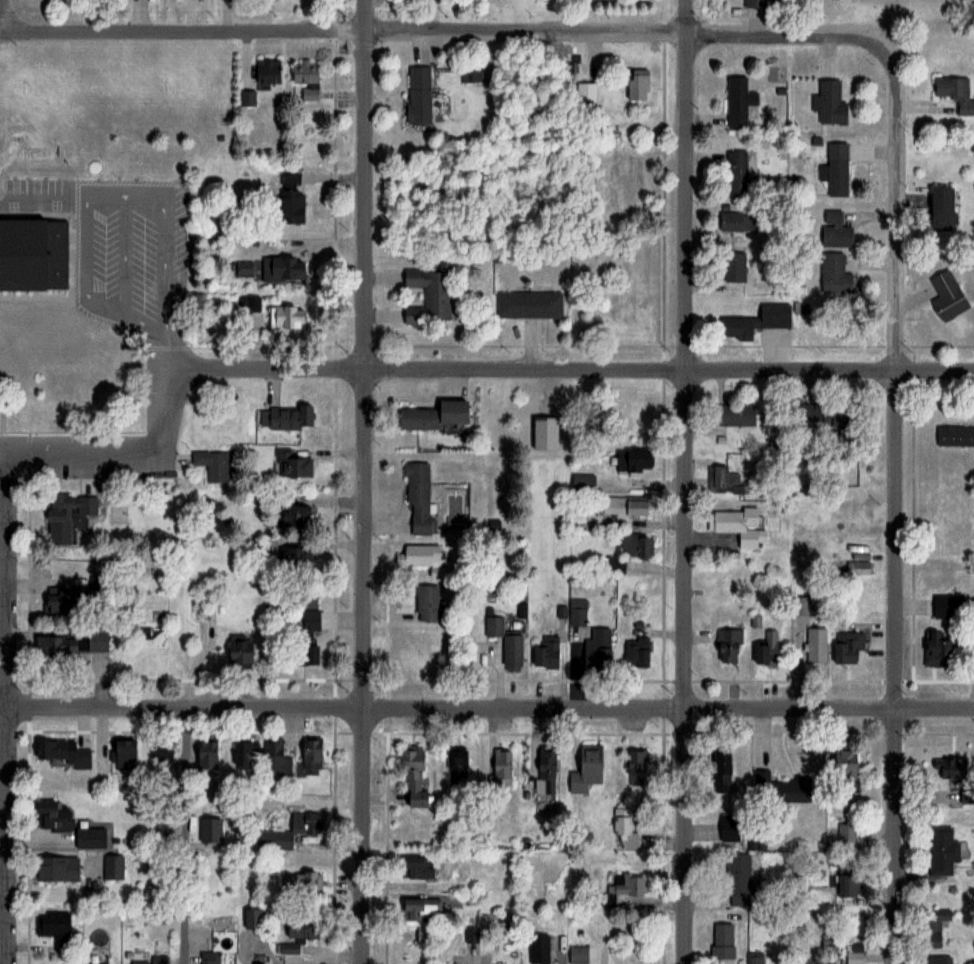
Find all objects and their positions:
building: (753, 3)
road: (4, 14)
road: (440, 30)
building: (266, 72)
building: (305, 78)
building: (636, 84)
building: (584, 92)
building: (955, 93)
building: (416, 94)
building: (247, 98)
building: (737, 102)
building: (829, 102)
building: (607, 164)
building: (835, 170)
building: (735, 173)
building: (628, 183)
road: (98, 190)
building: (290, 207)
building: (940, 208)
building: (735, 221)
building: (834, 230)
building: (32, 254)
building: (734, 267)
building: (243, 268)
building: (280, 269)
building: (833, 274)
building: (426, 294)
building: (946, 296)
building: (248, 303)
building: (527, 303)
building: (285, 317)
building: (754, 322)
road: (172, 354)
road: (458, 369)
building: (817, 414)
building: (431, 415)
building: (731, 415)
building: (284, 417)
building: (954, 436)
building: (631, 460)
building: (212, 464)
building: (290, 464)
road: (364, 481)
building: (724, 481)
building: (581, 482)
road: (686, 482)
building: (417, 496)
road: (897, 503)
building: (68, 506)
building: (623, 507)
building: (291, 515)
building: (737, 526)
building: (632, 546)
building: (419, 554)
building: (292, 557)
building: (857, 568)
building: (60, 601)
building: (425, 602)
building: (946, 606)
building: (199, 612)
building: (576, 617)
building: (307, 637)
building: (93, 641)
building: (504, 641)
building: (937, 645)
building: (727, 646)
building: (815, 646)
building: (847, 646)
building: (237, 650)
building: (765, 650)
building: (417, 651)
building: (635, 652)
building: (544, 653)
building: (595, 653)
road: (2, 707)
road: (486, 712)
building: (59, 753)
building: (310, 753)
building: (273, 754)
building: (124, 755)
building: (205, 755)
building: (242, 755)
building: (161, 757)
building: (457, 763)
building: (501, 763)
building: (634, 763)
building: (843, 764)
building: (586, 768)
building: (945, 769)
building: (719, 772)
building: (544, 773)
building: (414, 778)
building: (776, 789)
building: (51, 816)
building: (730, 827)
building: (624, 830)
building: (846, 835)
road: (181, 837)
building: (88, 838)
building: (274, 840)
building: (941, 851)
building: (112, 868)
building: (416, 868)
building: (55, 871)
building: (737, 880)
building: (301, 884)
building: (845, 886)
building: (625, 887)
building: (420, 909)
building: (252, 919)
building: (53, 925)
building: (932, 929)
building: (294, 935)
building: (721, 941)
building: (829, 943)
building: (537, 949)
building: (853, 953)
building: (577, 955)
building: (208, 958)
building: (753, 958)
building: (934, 960)
building: (144, 961)
building: (253, 963)

